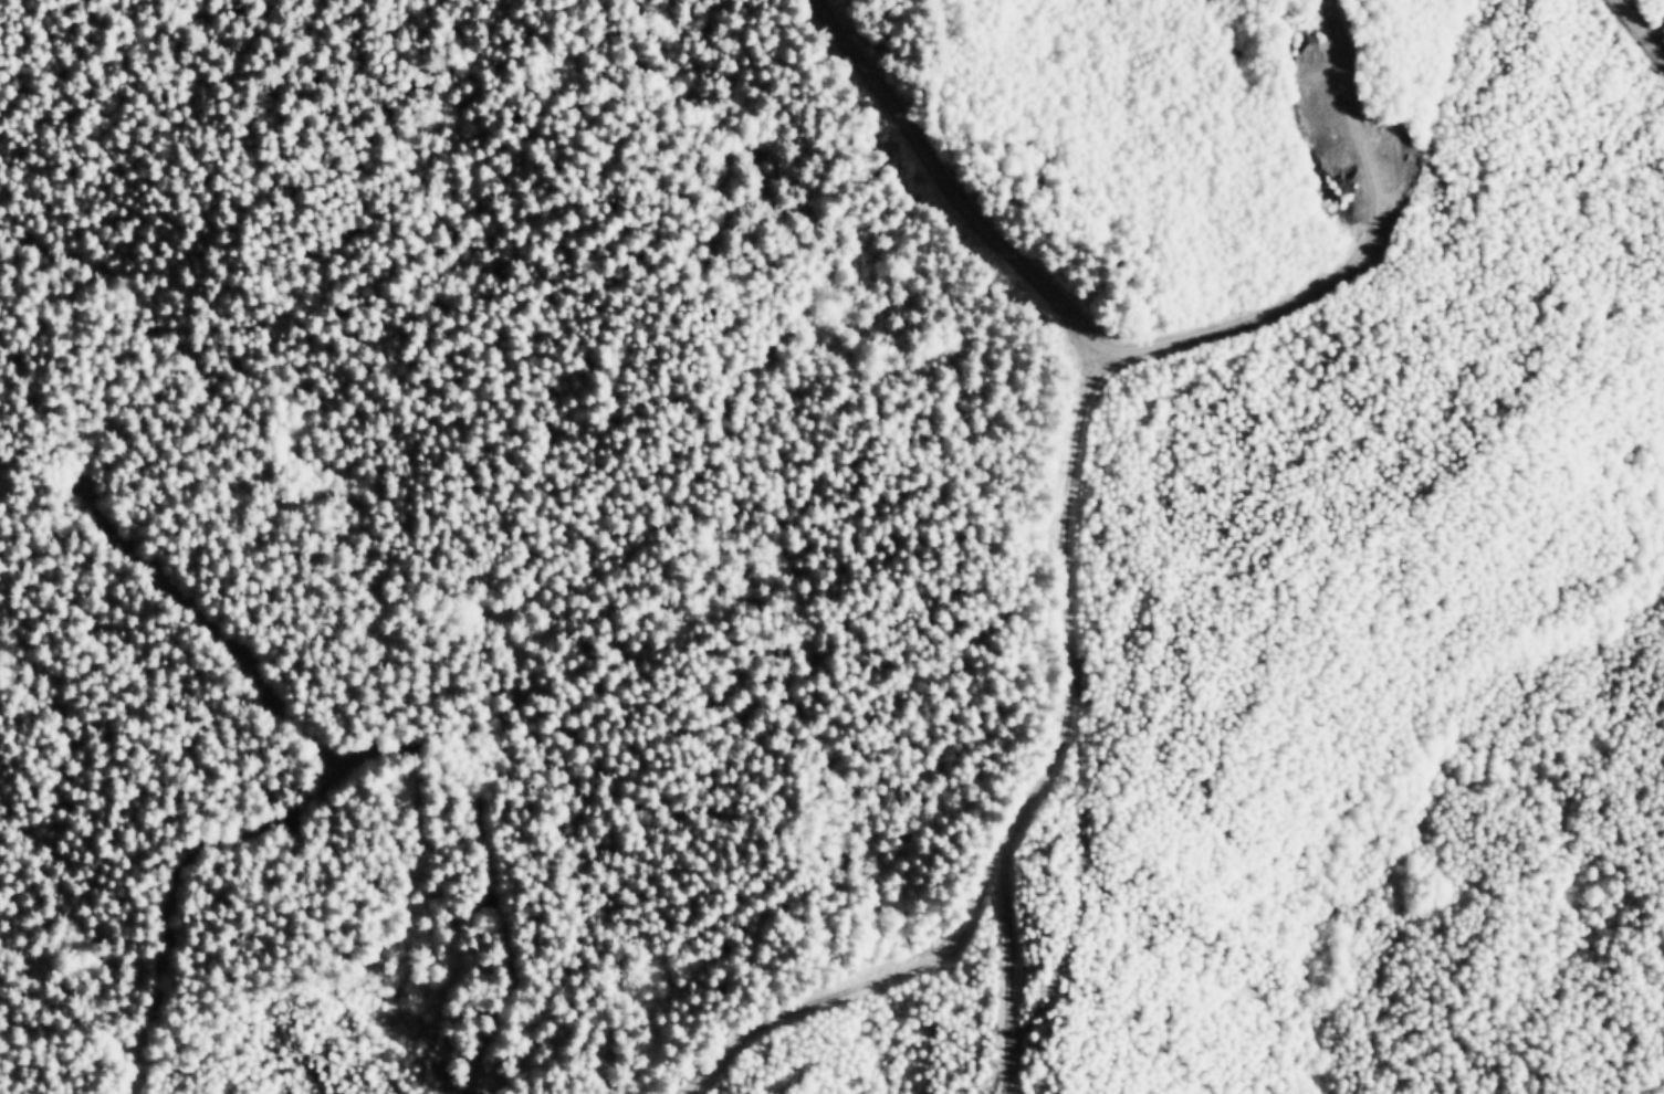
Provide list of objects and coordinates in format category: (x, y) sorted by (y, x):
road: (11, 4)
road: (1124, 483)

